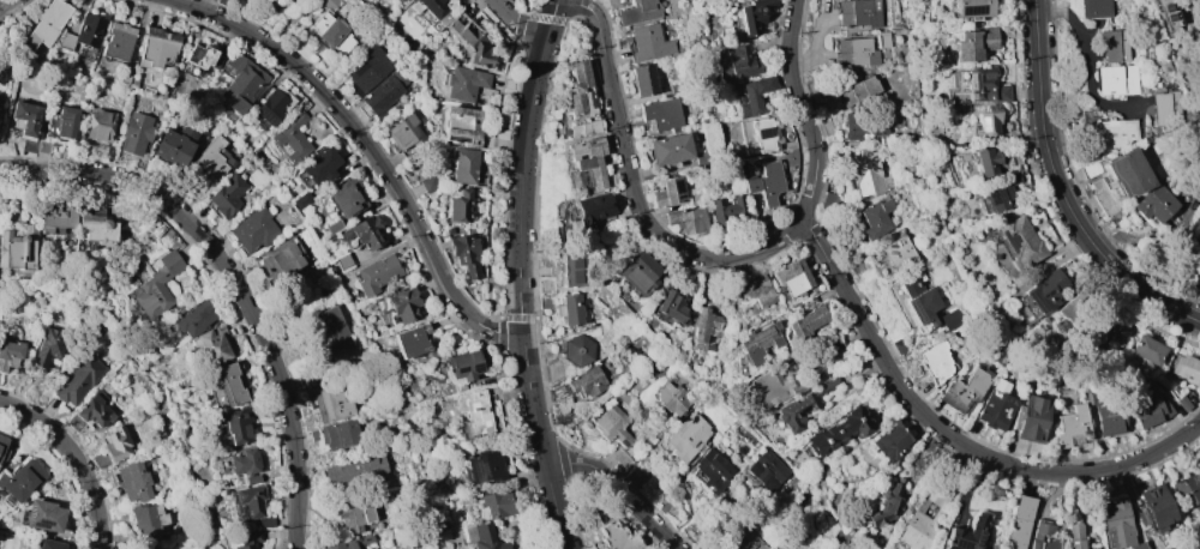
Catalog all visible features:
building: (396, 0)
building: (398, 0)
road: (2, 1)
building: (330, 4)
road: (522, 6)
rooftop solar panel: (1164, 7)
rooftop solar panel: (970, 8)
building: (971, 8)
building: (1096, 8)
building: (636, 11)
building: (431, 12)
building: (858, 12)
building: (1166, 13)
building: (751, 14)
rooftop solar panel: (1166, 16)
road: (535, 17)
building: (46, 24)
road: (516, 24)
road: (517, 25)
building: (84, 32)
building: (332, 32)
building: (883, 38)
building: (470, 41)
building: (118, 43)
building: (648, 43)
building: (973, 43)
building: (1112, 46)
building: (156, 47)
building: (853, 52)
building: (198, 60)
building: (732, 64)
road: (1086, 65)
rooftop solar panel: (359, 68)
building: (367, 68)
park: (1190, 68)
building: (124, 76)
rooftop solar panel: (973, 79)
building: (643, 80)
building: (1116, 80)
building: (240, 82)
building: (132, 83)
building: (463, 83)
road: (516, 86)
building: (984, 86)
building: (578, 89)
building: (856, 90)
building: (379, 95)
building: (752, 95)
building: (0, 105)
building: (274, 105)
building: (1164, 108)
building: (661, 115)
rooftop solar panel: (266, 117)
building: (989, 120)
building: (24, 122)
building: (61, 122)
rooftop solar panel: (982, 123)
building: (101, 125)
building: (461, 125)
building: (862, 125)
building: (582, 128)
rooftop solar panel: (764, 131)
building: (404, 132)
building: (1112, 132)
building: (134, 133)
building: (764, 133)
building: (290, 139)
road: (508, 143)
building: (42, 145)
building: (174, 145)
road: (372, 149)
building: (670, 149)
building: (587, 158)
building: (212, 159)
building: (985, 161)
building: (318, 164)
building: (906, 164)
building: (467, 167)
building: (866, 171)
building: (1127, 173)
road: (490, 179)
building: (428, 181)
building: (767, 182)
road: (635, 192)
building: (668, 192)
road: (1060, 192)
building: (1000, 193)
building: (226, 195)
building: (348, 197)
rooftop solar panel: (990, 197)
building: (697, 199)
building: (300, 200)
building: (829, 200)
building: (1104, 203)
building: (1153, 203)
building: (460, 207)
building: (726, 209)
building: (590, 210)
building: (56, 218)
building: (874, 218)
building: (686, 221)
building: (95, 225)
building: (334, 225)
building: (251, 230)
building: (365, 233)
building: (1193, 234)
rooftop solar panel: (1008, 240)
building: (1019, 241)
building: (18, 248)
building: (896, 252)
building: (464, 253)
building: (287, 254)
building: (343, 260)
rooftop solar panel: (576, 260)
building: (574, 267)
building: (637, 273)
building: (377, 274)
road: (517, 274)
building: (791, 277)
rooftop solar panel: (577, 278)
road: (233, 283)
building: (156, 288)
building: (756, 289)
building: (1040, 292)
rooftop solar panel: (1037, 303)
building: (402, 304)
building: (670, 306)
building: (925, 306)
rooftop solar panel: (911, 307)
building: (569, 309)
building: (1069, 309)
rooftop solar panel: (917, 313)
road: (496, 318)
road: (510, 318)
building: (193, 319)
building: (805, 321)
building: (331, 324)
building: (707, 325)
road: (500, 332)
building: (412, 340)
building: (758, 343)
building: (212, 344)
building: (48, 348)
building: (577, 349)
building: (1146, 351)
road: (880, 352)
building: (10, 354)
building: (936, 361)
building: (464, 364)
rooftop solar panel: (480, 368)
building: (1186, 369)
rooftop solar panel: (457, 370)
road: (511, 376)
building: (77, 380)
building: (586, 381)
building: (226, 386)
building: (774, 386)
road: (511, 388)
building: (964, 390)
building: (671, 398)
building: (330, 403)
building: (1182, 403)
building: (804, 405)
building: (94, 409)
building: (996, 409)
building: (1146, 409)
building: (473, 412)
building: (1106, 412)
building: (1033, 418)
building: (236, 426)
building: (611, 426)
building: (1072, 426)
building: (838, 432)
building: (336, 434)
building: (686, 436)
building: (892, 439)
rooftop solar panel: (624, 441)
building: (2, 447)
building: (112, 447)
road: (510, 447)
road: (526, 450)
building: (619, 457)
road: (74, 458)
building: (1198, 460)
building: (245, 463)
building: (1196, 466)
building: (485, 467)
building: (354, 470)
building: (712, 470)
building: (766, 470)
road: (532, 475)
building: (22, 478)
building: (252, 479)
building: (132, 482)
road: (619, 490)
building: (1183, 490)
building: (251, 500)
building: (889, 502)
building: (494, 505)
building: (1152, 508)
rooftop solar panel: (30, 513)
building: (43, 515)
road: (541, 515)
building: (353, 517)
building: (146, 518)
building: (922, 518)
building: (264, 521)
building: (1019, 521)
building: (1116, 525)
building: (613, 532)
building: (967, 533)
building: (1073, 536)
building: (482, 537)
building: (1043, 537)
rooftop solar panel: (978, 538)
building: (740, 539)
building: (246, 541)
building: (350, 543)
building: (49, 544)
rooftop solar panel: (965, 547)
building: (150, 548)

